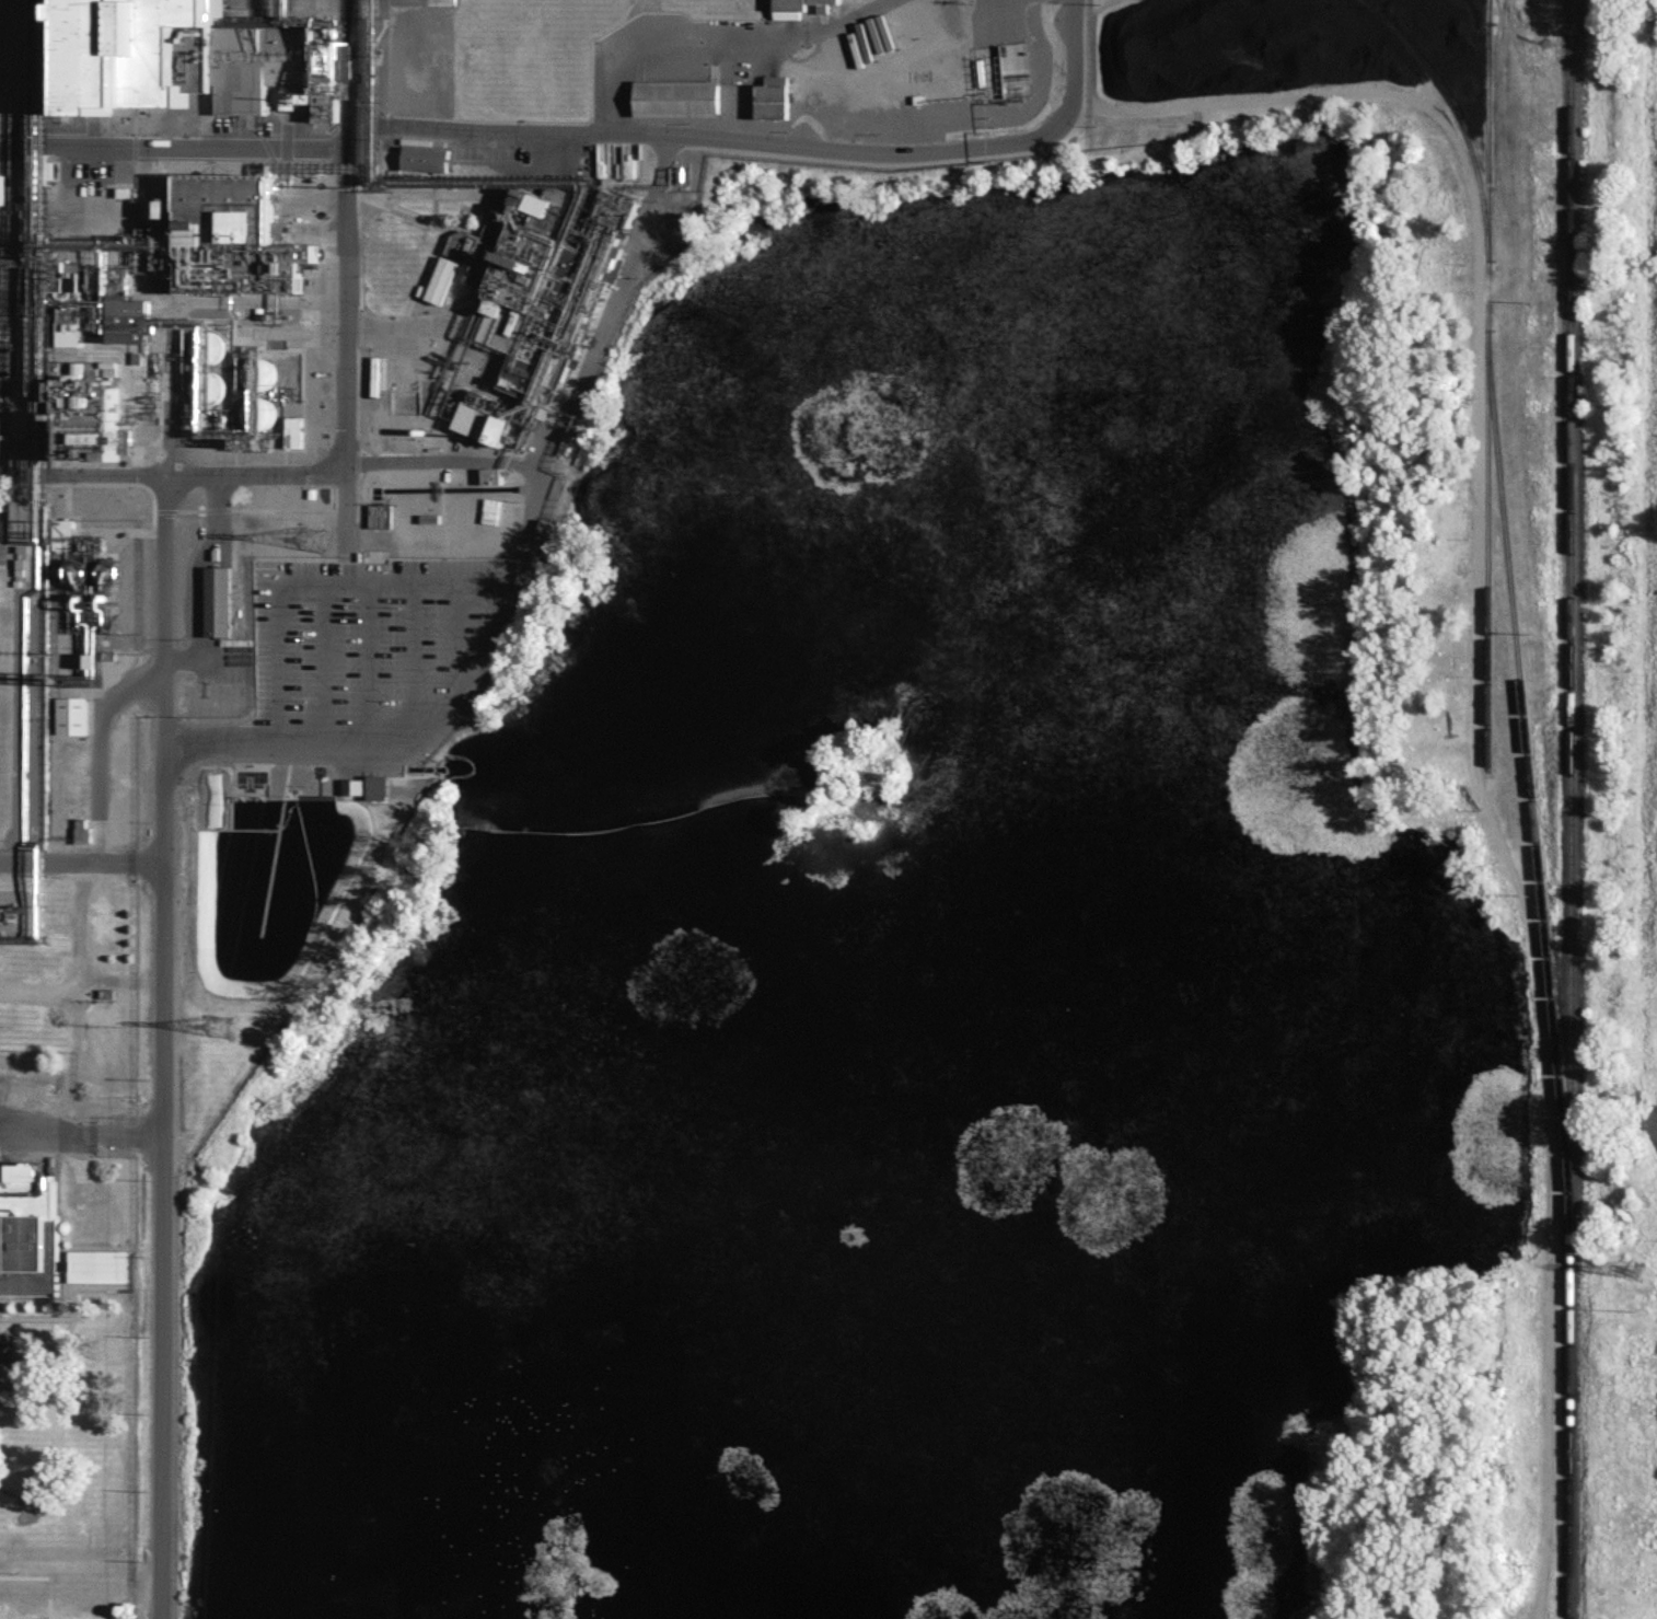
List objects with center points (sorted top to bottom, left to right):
building: (798, 8)
road: (723, 54)
building: (197, 59)
building: (676, 97)
building: (773, 97)
railway: (1455, 112)
road: (774, 142)
road: (177, 151)
building: (426, 158)
building: (1, 188)
building: (531, 294)
building: (96, 312)
road: (347, 317)
road: (571, 397)
road: (82, 476)
building: (380, 516)
building: (61, 527)
road: (525, 527)
power tower: (314, 545)
railway: (1486, 557)
road: (197, 562)
road: (316, 585)
railway: (1509, 585)
building: (217, 601)
road: (459, 637)
road: (324, 662)
road: (364, 663)
road: (413, 663)
road: (109, 707)
building: (71, 715)
road: (384, 741)
building: (378, 787)
railway: (1569, 809)
road: (81, 852)
power tower: (217, 1024)
road: (162, 1046)
road: (81, 1130)
building: (26, 1234)
building: (95, 1265)
power tower: (1634, 1272)

